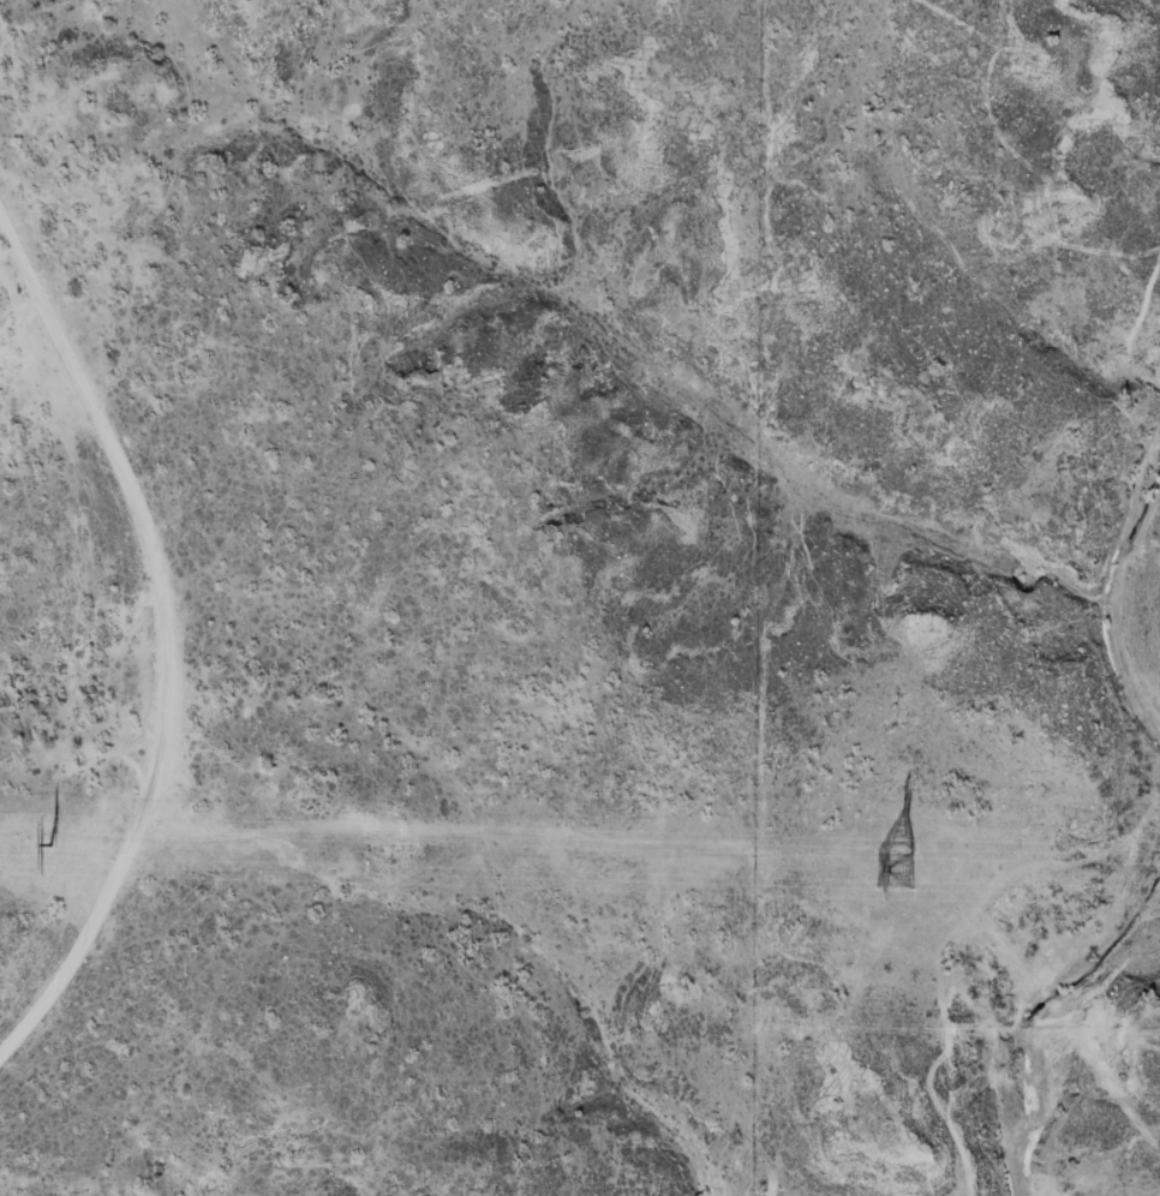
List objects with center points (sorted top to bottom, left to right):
road: (160, 638)
power tower: (50, 844)
power tower: (897, 868)

